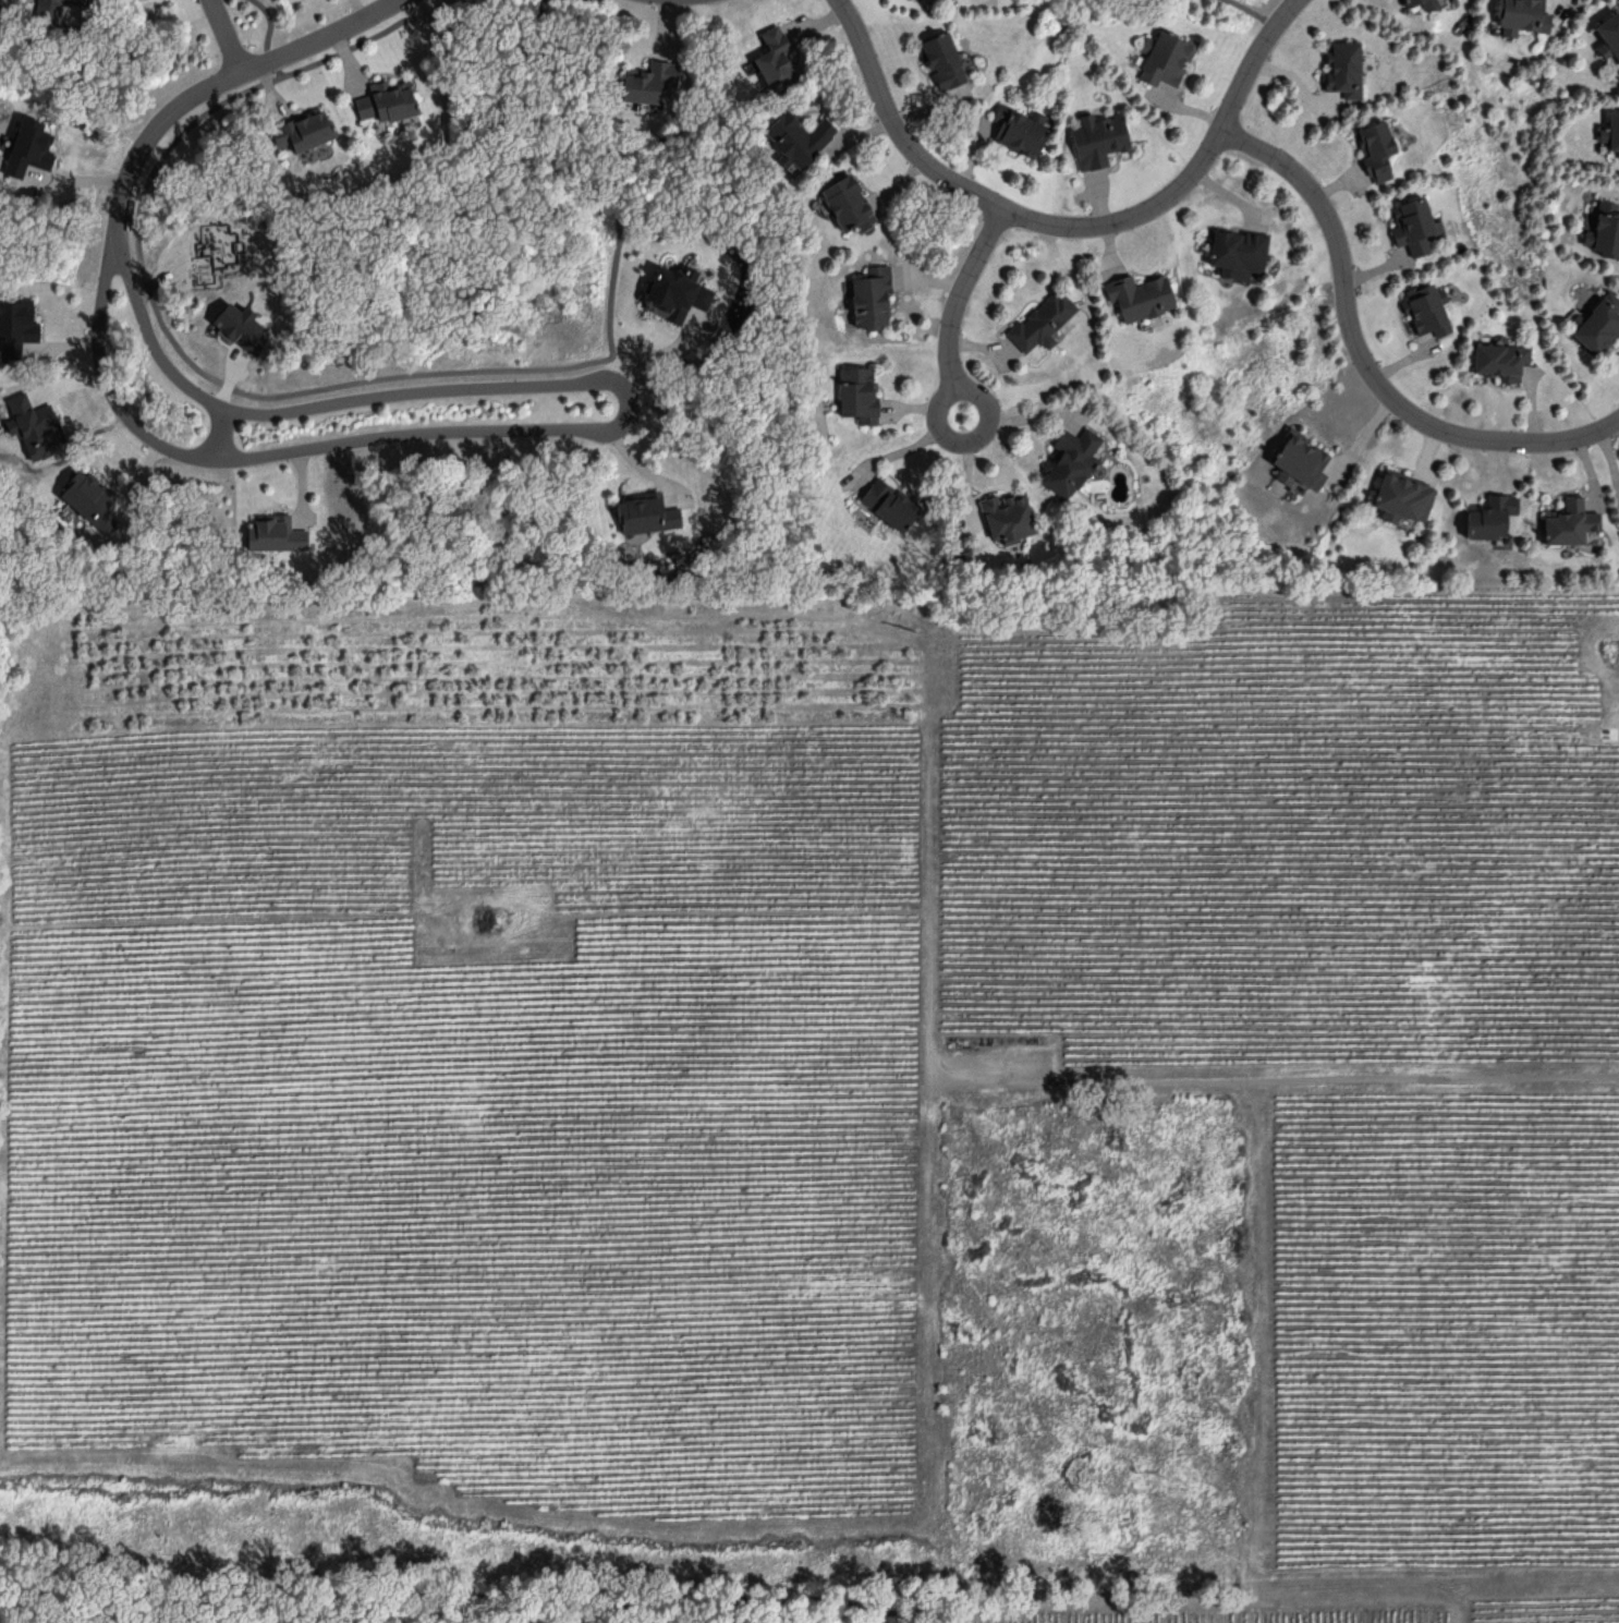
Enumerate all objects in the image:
building: (73, 0)
building: (1421, 2)
building: (48, 4)
road: (72, 5)
building: (1522, 16)
building: (1610, 32)
road: (228, 36)
road: (325, 37)
building: (1165, 57)
building: (774, 59)
building: (942, 60)
building: (1343, 68)
building: (648, 81)
building: (386, 100)
building: (1020, 129)
building: (303, 130)
building: (1614, 130)
road: (147, 134)
building: (798, 137)
building: (1098, 138)
building: (29, 146)
building: (1375, 148)
building: (848, 203)
building: (1414, 225)
building: (1605, 229)
road: (1070, 231)
building: (1238, 252)
building: (674, 290)
building: (1140, 295)
building: (872, 296)
road: (959, 299)
building: (1428, 308)
building: (1042, 320)
building: (1599, 324)
building: (16, 327)
road: (665, 349)
building: (1501, 360)
road: (1365, 364)
building: (859, 393)
road: (333, 400)
road: (220, 432)
road: (973, 444)
road: (284, 450)
building: (1071, 460)
building: (1300, 460)
building: (1402, 495)
building: (89, 499)
building: (889, 502)
building: (646, 513)
building: (1007, 516)
building: (1490, 516)
building: (1568, 521)
building: (275, 533)

